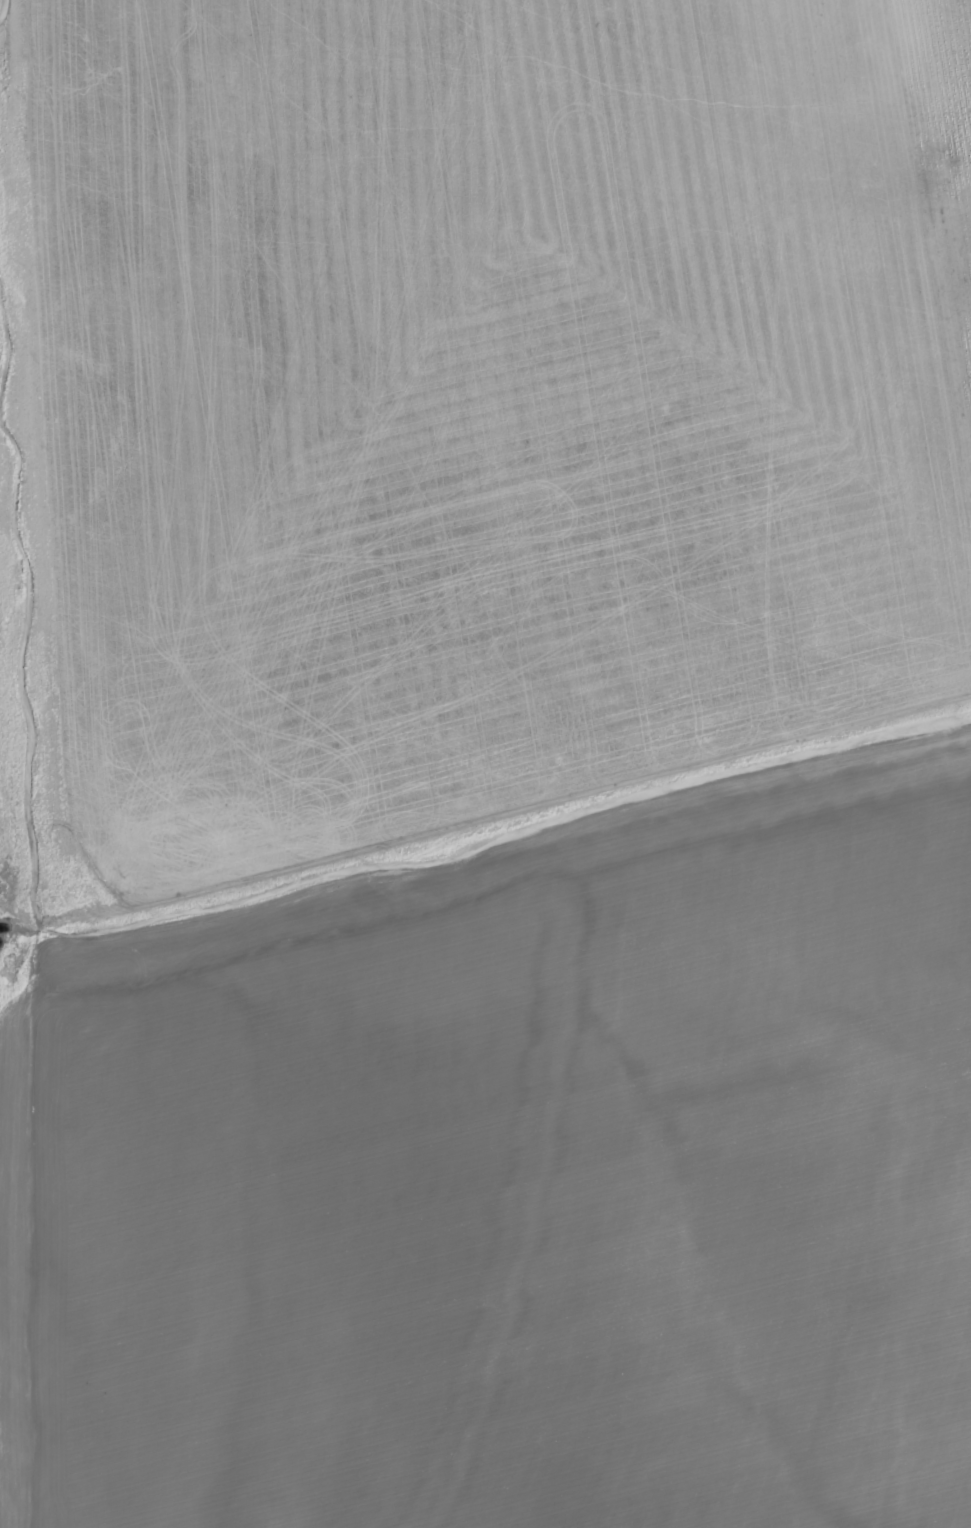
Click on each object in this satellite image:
road: (795, 367)

